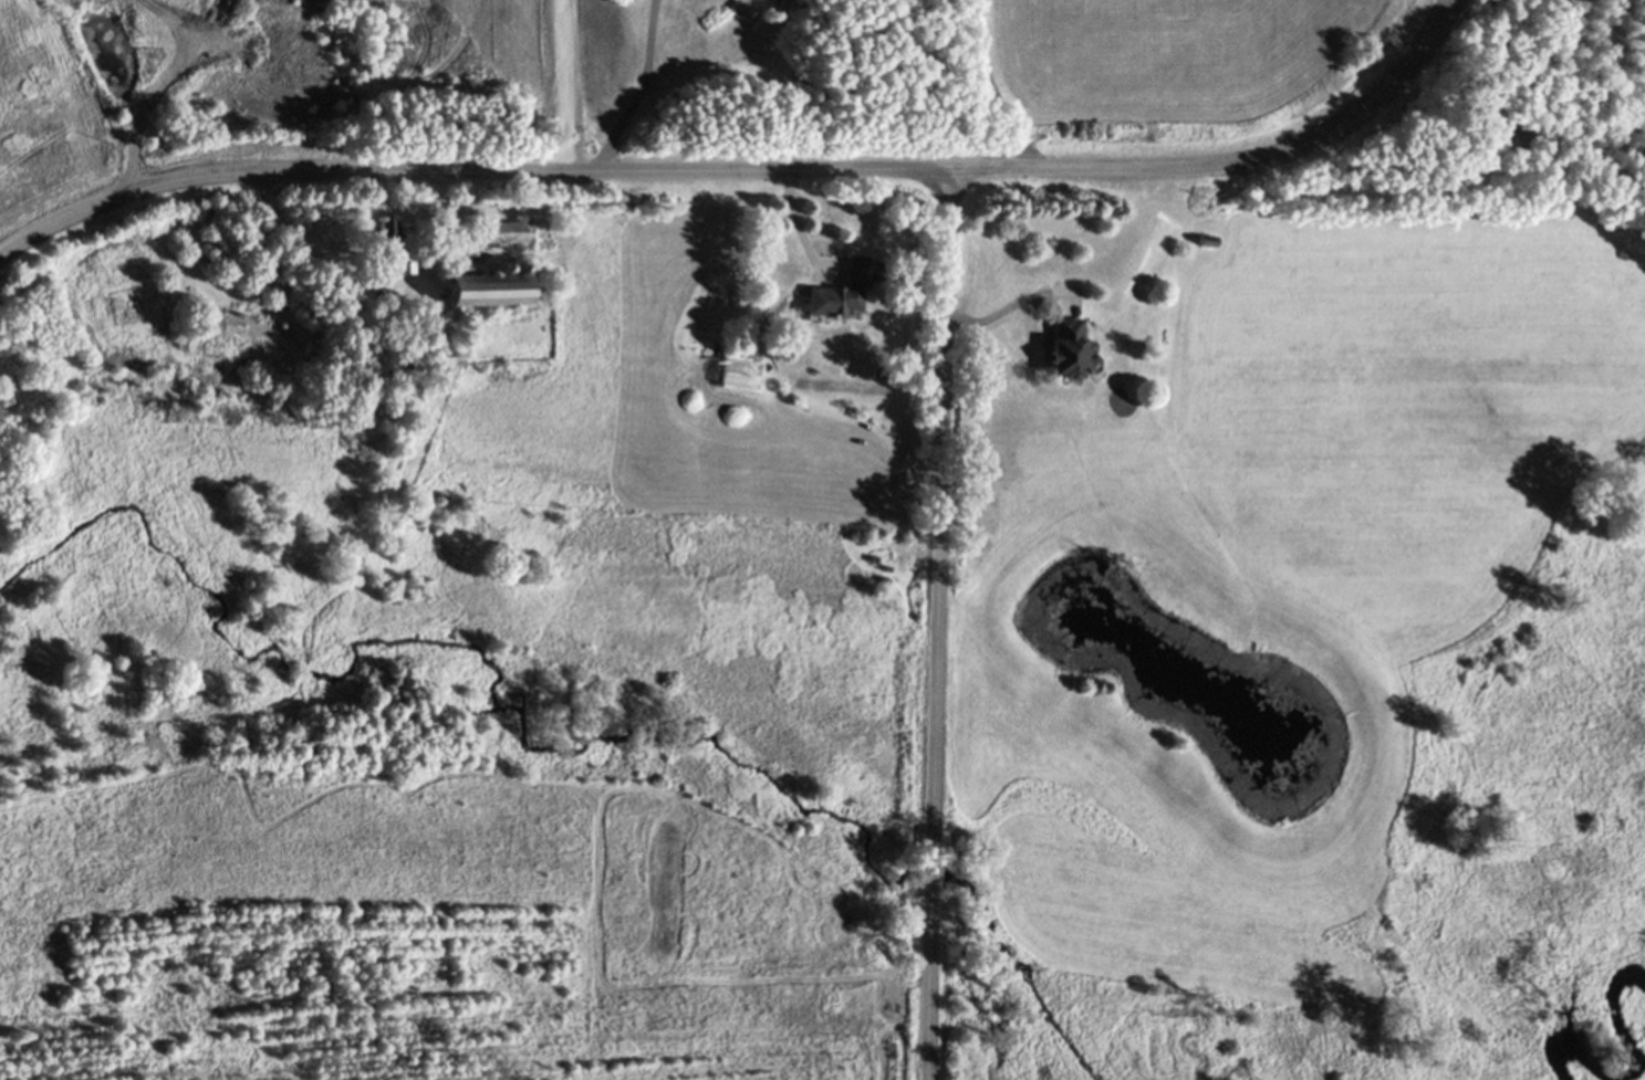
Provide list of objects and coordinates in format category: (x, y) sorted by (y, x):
building: (753, 1)
building: (772, 1)
road: (563, 85)
road: (990, 88)
road: (635, 91)
road: (747, 170)
road: (794, 227)
building: (501, 231)
building: (384, 238)
building: (1208, 239)
building: (1209, 244)
building: (404, 264)
building: (485, 290)
building: (840, 291)
road: (1004, 305)
building: (1068, 348)
building: (738, 354)
building: (372, 374)
road: (899, 388)
road: (938, 623)

